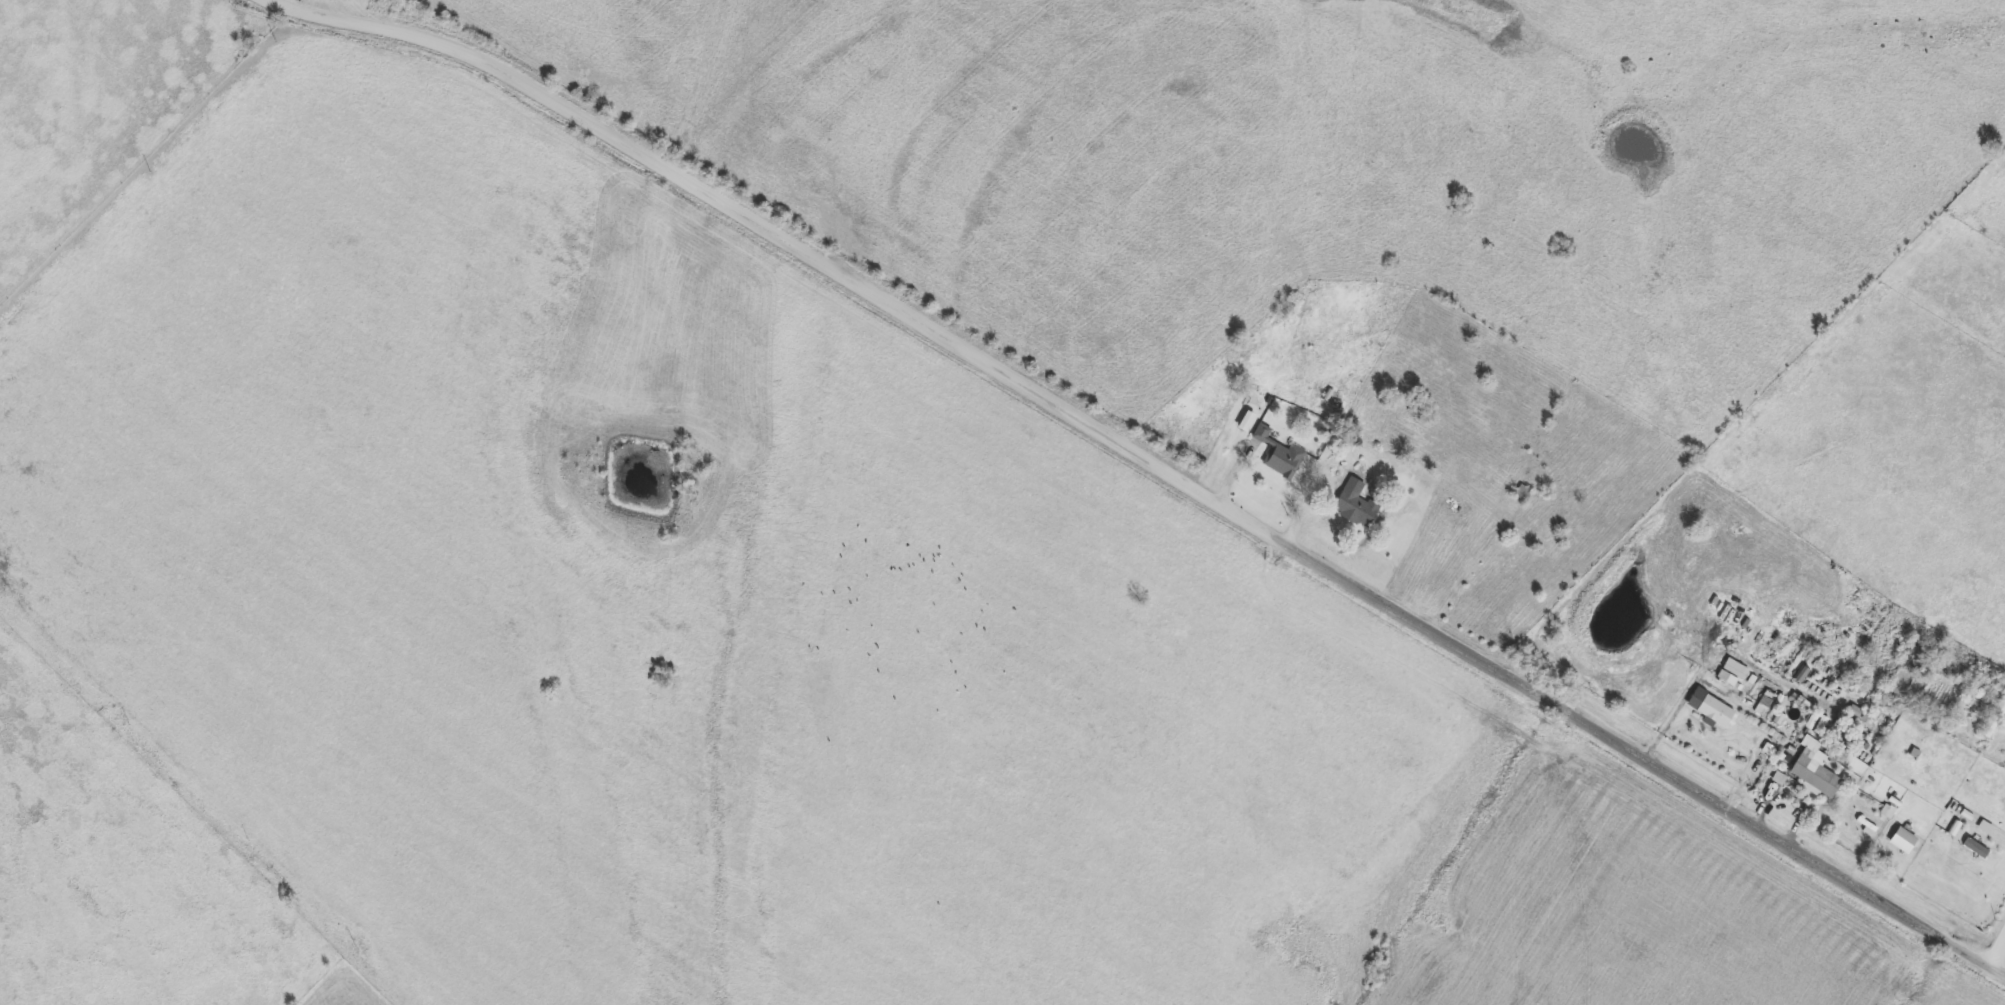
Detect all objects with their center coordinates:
building: (1278, 454)
road: (1147, 459)
building: (1521, 493)
building: (1355, 504)
building: (1914, 657)
building: (1764, 703)
building: (1710, 707)
building: (1995, 717)
building: (1815, 769)
building: (1975, 847)
road: (1997, 957)

